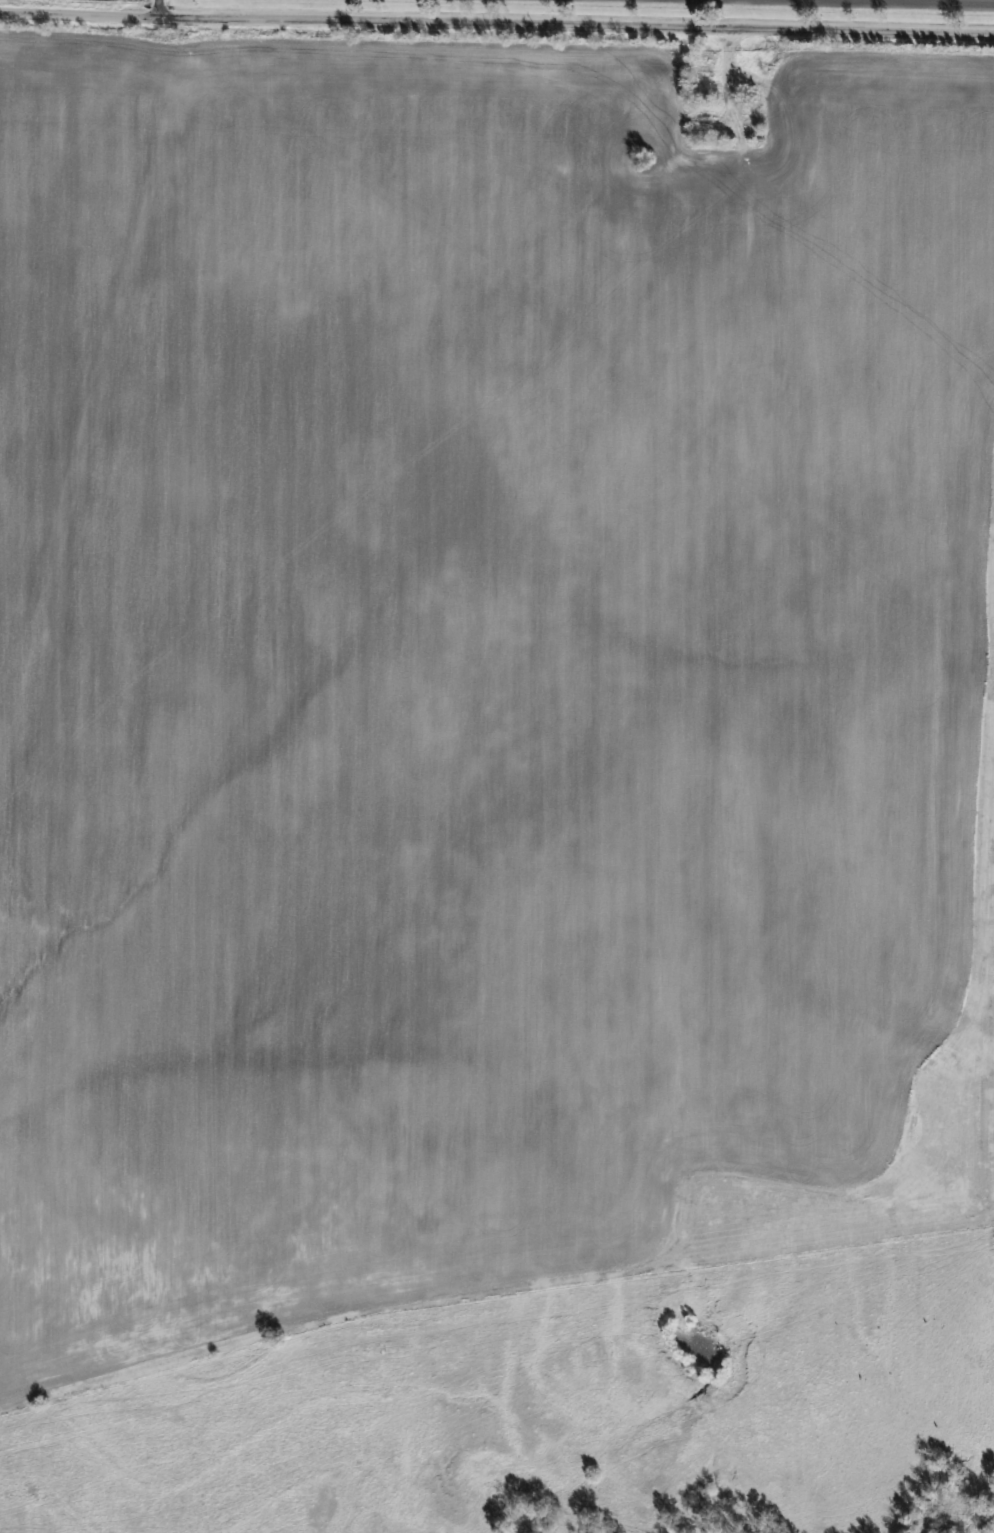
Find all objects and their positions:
road: (155, 10)
road: (496, 27)

